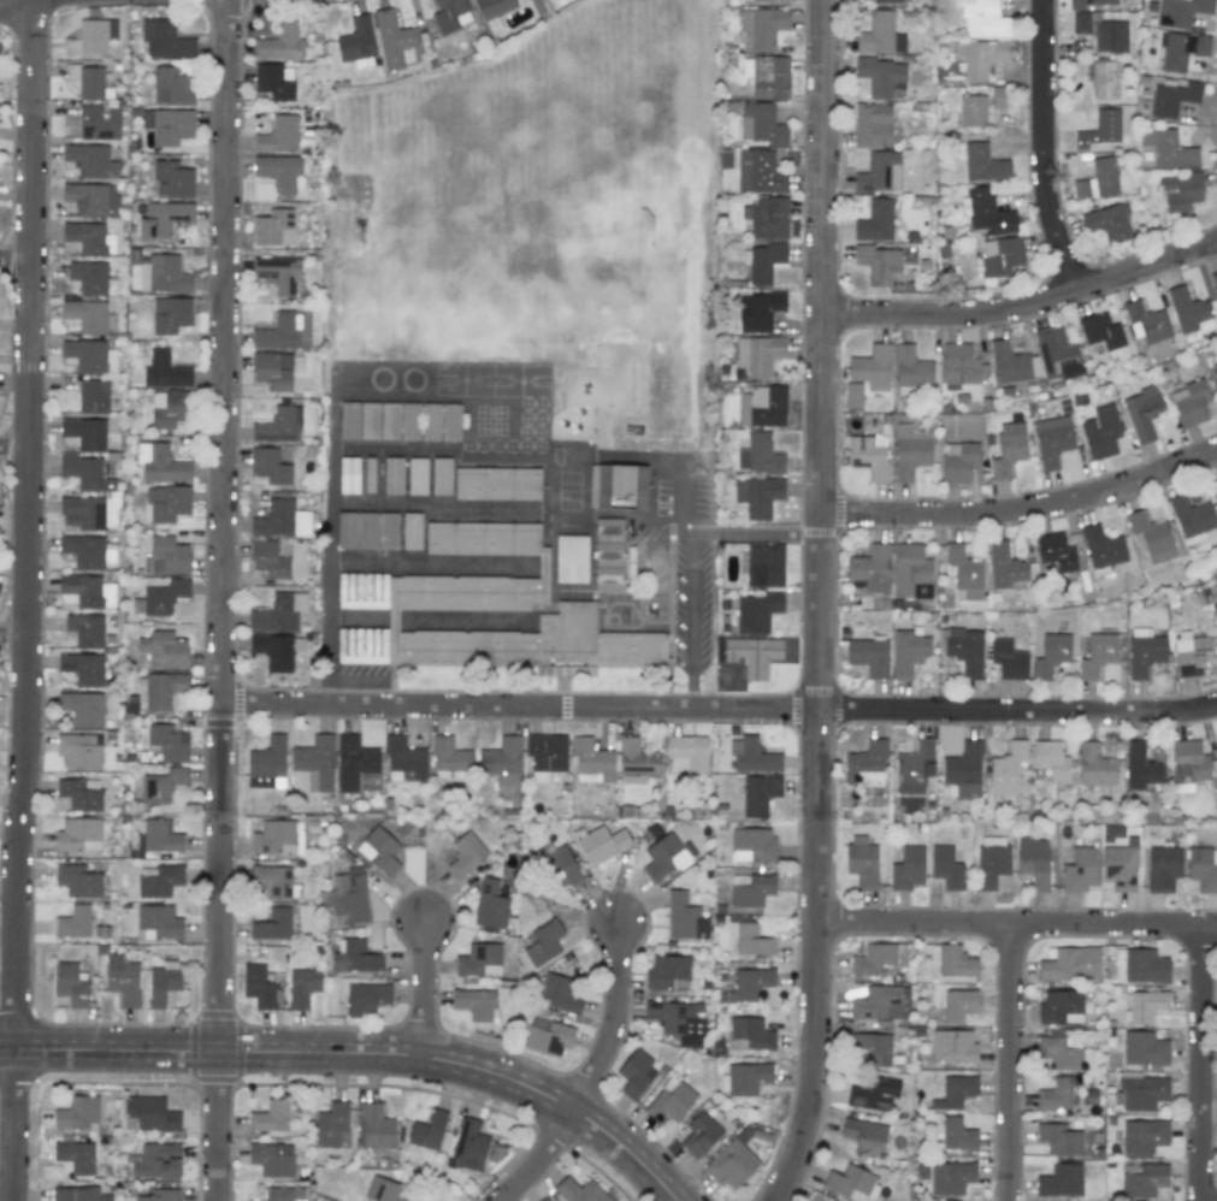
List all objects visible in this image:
building: (885, 1)
building: (1088, 4)
building: (492, 7)
building: (1180, 12)
building: (450, 14)
building: (981, 18)
building: (761, 26)
building: (1100, 31)
building: (879, 35)
building: (90, 36)
building: (164, 40)
building: (394, 40)
building: (356, 42)
building: (280, 43)
building: (980, 57)
building: (879, 75)
building: (767, 76)
building: (1097, 77)
building: (273, 82)
building: (171, 87)
building: (997, 96)
building: (1171, 99)
building: (971, 111)
building: (99, 122)
building: (760, 124)
building: (167, 125)
building: (872, 125)
building: (1100, 129)
building: (278, 135)
road: (1050, 144)
building: (1168, 148)
building: (90, 160)
building: (981, 162)
building: (758, 172)
building: (879, 173)
building: (172, 179)
building: (1098, 179)
building: (1180, 190)
building: (91, 199)
building: (988, 215)
building: (767, 217)
building: (163, 219)
building: (875, 221)
building: (1107, 223)
building: (273, 227)
building: (350, 232)
building: (85, 237)
building: (999, 256)
road: (16, 258)
building: (763, 262)
building: (876, 264)
building: (278, 273)
building: (163, 274)
building: (91, 278)
building: (1213, 283)
road: (1026, 303)
building: (758, 310)
building: (1188, 312)
building: (171, 314)
building: (87, 315)
building: (1146, 321)
building: (279, 331)
building: (1104, 336)
building: (758, 355)
building: (1057, 355)
building: (89, 356)
building: (1008, 363)
building: (872, 368)
building: (911, 368)
building: (1215, 368)
building: (165, 371)
building: (271, 372)
building: (852, 395)
building: (93, 396)
building: (1189, 403)
building: (762, 406)
building: (170, 409)
building: (1142, 412)
building: (349, 420)
building: (370, 420)
building: (390, 421)
building: (409, 421)
building: (430, 421)
building: (450, 422)
building: (279, 426)
building: (85, 432)
building: (1100, 432)
building: (1052, 440)
road: (16, 445)
building: (911, 449)
building: (1008, 449)
road: (438, 451)
building: (758, 454)
building: (868, 455)
building: (958, 461)
building: (270, 466)
building: (368, 474)
building: (348, 475)
building: (392, 475)
building: (417, 475)
building: (441, 475)
building: (1216, 480)
building: (496, 483)
building: (619, 484)
building: (85, 492)
building: (757, 495)
road: (673, 497)
building: (167, 503)
road: (1024, 508)
road: (439, 509)
building: (1191, 516)
building: (276, 519)
building: (356, 531)
building: (388, 531)
building: (410, 531)
road: (668, 533)
building: (1151, 537)
road: (331, 540)
building: (1103, 548)
building: (1054, 551)
building: (89, 552)
building: (608, 554)
building: (165, 556)
road: (697, 557)
building: (571, 558)
building: (268, 560)
building: (764, 564)
road: (431, 566)
building: (1004, 566)
building: (870, 568)
building: (909, 569)
building: (964, 572)
building: (442, 588)
building: (88, 591)
building: (160, 598)
road: (29, 600)
road: (226, 600)
road: (822, 604)
building: (1215, 609)
building: (279, 613)
building: (756, 613)
building: (85, 629)
road: (14, 634)
building: (164, 650)
building: (277, 650)
building: (964, 650)
building: (908, 651)
building: (1144, 652)
building: (1191, 653)
building: (752, 655)
building: (1051, 655)
building: (1098, 655)
building: (868, 656)
building: (1008, 659)
building: (83, 668)
building: (163, 690)
road: (701, 705)
building: (82, 708)
road: (1195, 710)
building: (1216, 735)
building: (167, 741)
building: (79, 751)
building: (547, 752)
building: (686, 753)
building: (449, 756)
building: (752, 756)
building: (404, 757)
building: (1051, 759)
building: (502, 761)
building: (591, 761)
building: (636, 761)
building: (1189, 761)
building: (315, 762)
building: (353, 762)
building: (267, 764)
building: (866, 764)
building: (1094, 765)
building: (1140, 767)
building: (963, 769)
building: (1006, 769)
building: (163, 785)
building: (79, 793)
building: (758, 794)
building: (78, 834)
building: (158, 835)
building: (276, 838)
building: (601, 844)
building: (752, 844)
building: (379, 851)
building: (466, 854)
building: (666, 856)
building: (1033, 860)
building: (861, 862)
building: (557, 864)
building: (991, 865)
building: (1119, 866)
building: (908, 868)
building: (946, 868)
building: (1163, 868)
building: (1203, 868)
building: (1080, 870)
building: (158, 880)
building: (272, 880)
building: (78, 881)
building: (750, 889)
building: (348, 899)
building: (490, 905)
building: (684, 917)
building: (73, 922)
building: (159, 922)
road: (916, 922)
road: (1113, 923)
building: (272, 924)
building: (749, 939)
building: (543, 942)
building: (355, 957)
building: (479, 960)
building: (874, 960)
building: (955, 962)
building: (1070, 964)
building: (1145, 965)
building: (668, 972)
building: (123, 981)
building: (71, 983)
building: (750, 983)
building: (163, 984)
building: (258, 987)
building: (302, 987)
road: (426, 989)
building: (559, 994)
building: (366, 999)
building: (876, 1002)
building: (475, 1004)
building: (957, 1004)
building: (1145, 1006)
building: (1061, 1007)
road: (614, 1020)
building: (678, 1022)
building: (749, 1034)
building: (547, 1036)
building: (874, 1047)
building: (952, 1047)
building: (1144, 1048)
road: (362, 1052)
building: (1062, 1052)
road: (1011, 1061)
road: (1205, 1063)
building: (634, 1073)
building: (745, 1078)
building: (955, 1091)
building: (1141, 1091)
building: (1057, 1093)
building: (873, 1094)
building: (669, 1101)
road: (1211, 1106)
building: (77, 1112)
building: (152, 1113)
building: (273, 1114)
building: (331, 1124)
building: (377, 1126)
building: (427, 1131)
building: (697, 1135)
building: (745, 1135)
building: (957, 1135)
building: (864, 1136)
building: (1142, 1136)
building: (1059, 1140)
building: (76, 1156)
building: (272, 1159)
road: (544, 1159)
building: (156, 1161)
building: (731, 1164)
building: (951, 1177)
building: (1059, 1181)
building: (1144, 1181)
building: (850, 1182)
building: (383, 1190)
building: (580, 1190)
building: (77, 1194)
building: (283, 1194)
building: (160, 1195)
building: (543, 1200)

